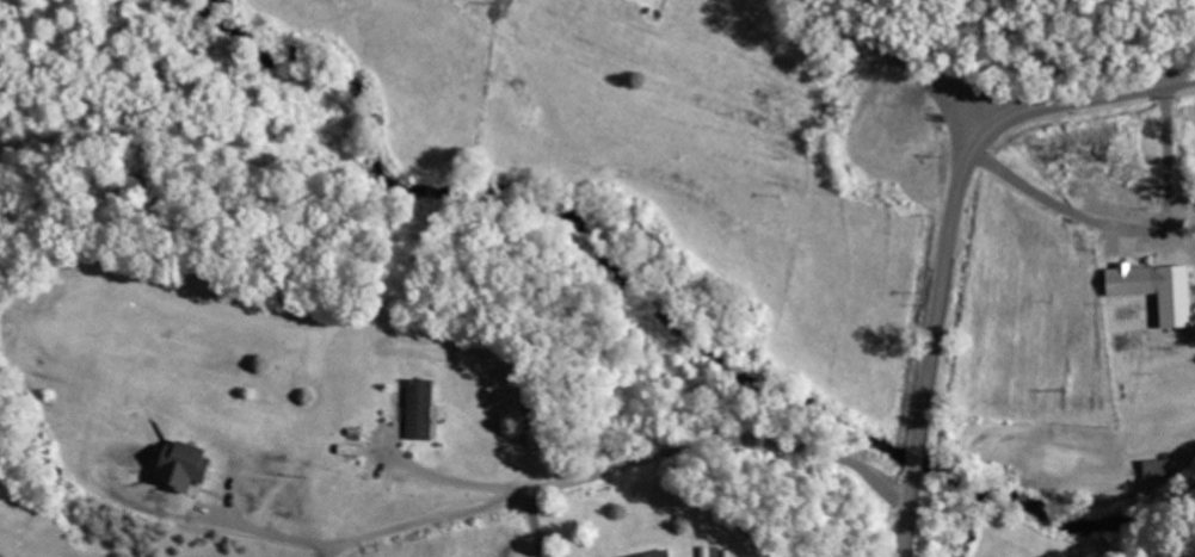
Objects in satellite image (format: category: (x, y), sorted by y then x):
road: (916, 57)
road: (1176, 129)
road: (948, 234)
building: (1152, 289)
building: (417, 409)
building: (175, 466)
building: (1160, 468)
building: (709, 551)
building: (655, 553)

